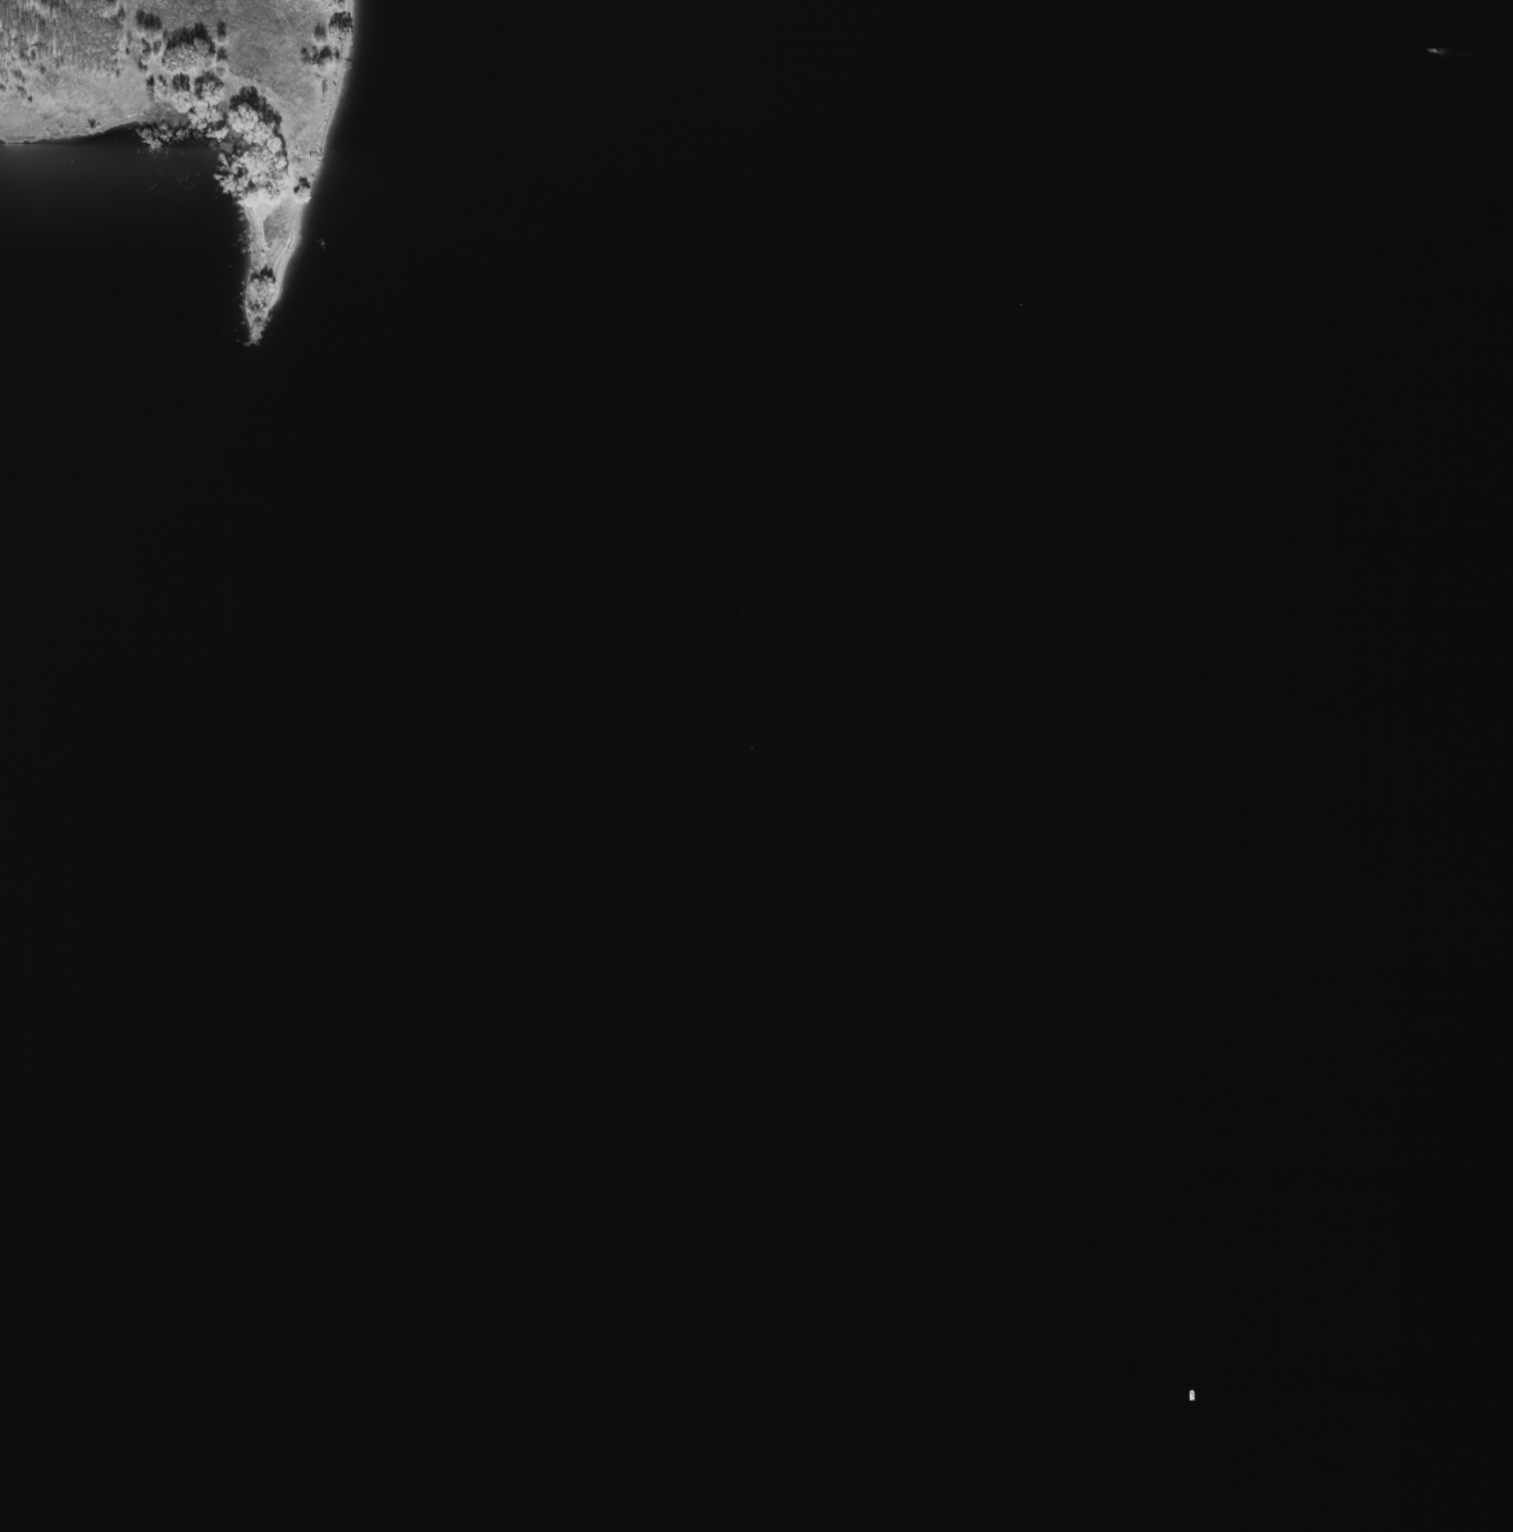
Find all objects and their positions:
park: (196, 91)

